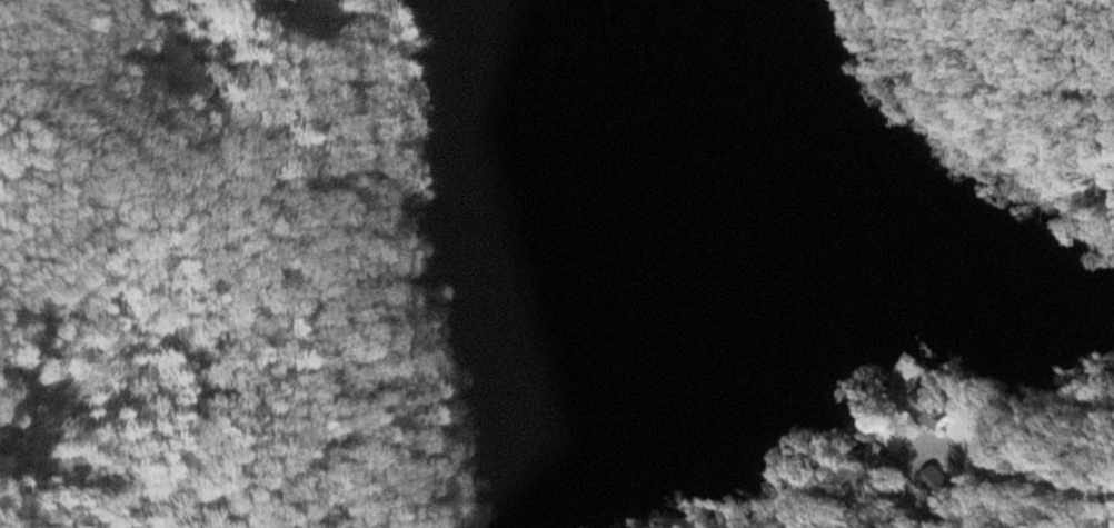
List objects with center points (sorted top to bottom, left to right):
building: (288, 4)
road: (128, 98)
building: (946, 414)
building: (937, 485)
road: (992, 490)

